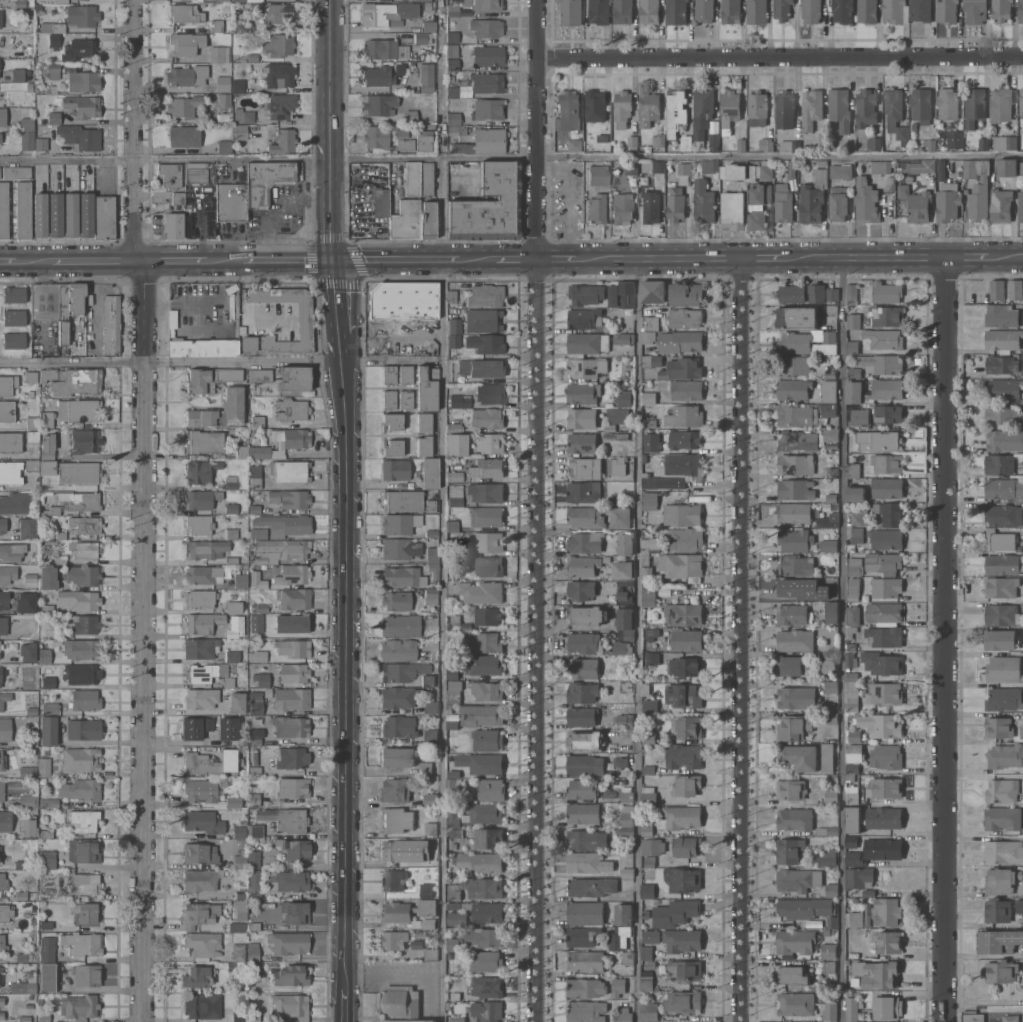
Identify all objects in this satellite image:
building: (239, 0)
building: (62, 1)
building: (20, 3)
building: (424, 5)
building: (485, 5)
building: (37, 6)
building: (227, 6)
building: (783, 9)
building: (452, 10)
building: (705, 10)
building: (920, 10)
building: (1001, 10)
building: (273, 11)
building: (623, 11)
building: (649, 11)
building: (676, 11)
building: (731, 11)
building: (812, 11)
building: (843, 11)
building: (867, 11)
building: (895, 11)
building: (947, 11)
building: (975, 11)
building: (1020, 11)
building: (185, 12)
building: (388, 12)
building: (571, 12)
building: (599, 12)
building: (757, 12)
building: (82, 15)
building: (1, 18)
building: (216, 25)
building: (244, 27)
building: (486, 27)
building: (59, 28)
building: (451, 36)
building: (422, 37)
building: (54, 41)
building: (185, 43)
building: (279, 44)
building: (29, 48)
building: (380, 48)
building: (79, 49)
building: (451, 50)
building: (219, 53)
building: (488, 55)
building: (253, 57)
road: (779, 57)
building: (412, 63)
building: (452, 64)
building: (51, 70)
building: (18, 74)
building: (279, 74)
building: (187, 75)
building: (378, 75)
building: (427, 77)
building: (84, 81)
building: (486, 82)
building: (223, 83)
building: (238, 85)
building: (30, 87)
building: (37, 87)
building: (53, 89)
building: (452, 91)
building: (223, 99)
building: (948, 103)
building: (379, 104)
building: (1002, 104)
building: (82, 105)
building: (595, 105)
building: (650, 105)
building: (921, 105)
building: (183, 106)
building: (279, 106)
building: (974, 106)
building: (730, 107)
building: (1021, 107)
building: (488, 108)
building: (622, 108)
building: (757, 108)
building: (812, 108)
building: (866, 108)
building: (840, 109)
building: (569, 110)
building: (785, 110)
building: (676, 111)
building: (702, 113)
building: (895, 114)
building: (3, 116)
building: (243, 116)
building: (411, 116)
building: (54, 117)
building: (222, 117)
building: (453, 118)
building: (27, 123)
building: (914, 126)
building: (453, 129)
road: (329, 130)
building: (239, 131)
building: (80, 136)
building: (184, 136)
building: (387, 136)
building: (0, 137)
building: (955, 139)
building: (27, 140)
building: (424, 140)
building: (659, 140)
building: (823, 140)
building: (283, 141)
building: (483, 141)
building: (713, 141)
building: (893, 141)
building: (1022, 141)
building: (633, 142)
building: (1005, 142)
building: (686, 143)
building: (874, 143)
building: (42, 144)
building: (575, 144)
building: (741, 144)
building: (928, 144)
building: (768, 145)
building: (790, 145)
building: (224, 146)
building: (849, 146)
building: (984, 146)
road: (779, 156)
road: (185, 157)
road: (432, 158)
road: (66, 159)
building: (822, 162)
building: (941, 165)
building: (711, 166)
building: (923, 166)
building: (659, 167)
building: (790, 167)
building: (877, 167)
building: (887, 167)
building: (1006, 167)
building: (631, 168)
building: (970, 168)
building: (685, 169)
building: (841, 171)
building: (17, 172)
building: (196, 172)
building: (734, 172)
building: (759, 172)
building: (169, 175)
building: (599, 175)
building: (413, 178)
building: (427, 178)
building: (267, 181)
building: (890, 184)
building: (452, 185)
building: (903, 191)
building: (761, 194)
building: (814, 197)
building: (178, 198)
building: (978, 200)
building: (232, 201)
building: (380, 201)
building: (703, 201)
building: (867, 201)
building: (947, 201)
parking lot: (558, 203)
building: (783, 203)
building: (839, 203)
building: (676, 204)
building: (488, 205)
building: (1001, 205)
building: (920, 206)
building: (1020, 206)
building: (650, 207)
building: (597, 208)
building: (622, 208)
building: (4, 209)
building: (23, 209)
building: (733, 209)
road: (278, 210)
building: (55, 214)
building: (71, 214)
building: (86, 214)
building: (40, 215)
building: (104, 217)
building: (757, 219)
building: (407, 220)
building: (428, 220)
building: (173, 226)
road: (1006, 256)
road: (762, 257)
road: (865, 257)
road: (967, 257)
road: (397, 258)
road: (500, 258)
road: (563, 258)
road: (665, 258)
road: (277, 260)
traffic signals: (331, 260)
road: (182, 261)
road: (17, 262)
road: (87, 262)
building: (997, 289)
building: (1015, 289)
building: (654, 291)
building: (816, 292)
building: (886, 292)
building: (626, 293)
building: (792, 293)
building: (13, 294)
building: (412, 294)
building: (586, 294)
building: (685, 294)
building: (832, 294)
building: (852, 294)
building: (451, 295)
building: (485, 295)
building: (612, 295)
building: (76, 298)
building: (385, 299)
building: (46, 302)
road: (335, 311)
building: (628, 311)
building: (64, 313)
building: (885, 315)
building: (1003, 315)
building: (14, 317)
building: (797, 317)
building: (305, 318)
building: (584, 318)
building: (685, 318)
building: (483, 319)
building: (853, 321)
building: (650, 322)
building: (111, 324)
building: (454, 325)
building: (241, 329)
building: (647, 336)
building: (829, 337)
building: (625, 338)
building: (884, 339)
building: (14, 340)
building: (453, 340)
building: (1003, 340)
building: (680, 341)
building: (198, 343)
building: (485, 343)
building: (587, 343)
building: (795, 343)
building: (852, 347)
building: (652, 360)
road: (221, 363)
building: (882, 363)
building: (1000, 364)
building: (590, 366)
building: (793, 366)
building: (481, 367)
building: (682, 368)
building: (1022, 368)
building: (1022, 371)
building: (432, 372)
building: (854, 373)
building: (47, 374)
building: (389, 374)
building: (405, 374)
building: (830, 374)
building: (261, 375)
building: (31, 376)
building: (210, 378)
building: (295, 378)
building: (76, 381)
building: (7, 384)
building: (794, 388)
building: (887, 389)
building: (426, 390)
building: (687, 390)
building: (1003, 390)
building: (829, 391)
building: (854, 391)
building: (583, 392)
building: (30, 393)
building: (490, 393)
building: (649, 396)
building: (389, 399)
building: (405, 399)
building: (625, 399)
building: (459, 400)
building: (79, 409)
building: (291, 409)
building: (6, 410)
building: (220, 410)
building: (828, 410)
building: (887, 414)
building: (1001, 414)
building: (618, 415)
building: (797, 415)
building: (685, 416)
building: (859, 417)
building: (487, 418)
building: (582, 418)
building: (393, 420)
building: (649, 420)
building: (46, 421)
building: (258, 421)
building: (32, 422)
building: (424, 422)
building: (454, 427)
building: (611, 427)
building: (254, 432)
building: (831, 434)
building: (624, 436)
building: (33, 437)
building: (685, 439)
building: (878, 440)
building: (1004, 440)
building: (85, 441)
building: (204, 441)
building: (798, 441)
building: (10, 442)
building: (490, 442)
building: (282, 443)
building: (582, 443)
building: (457, 444)
building: (424, 445)
building: (393, 447)
building: (652, 449)
building: (242, 451)
building: (47, 453)
building: (887, 462)
building: (796, 464)
building: (999, 464)
building: (32, 465)
building: (684, 465)
building: (616, 466)
building: (47, 467)
building: (487, 468)
building: (585, 468)
building: (396, 469)
building: (853, 470)
building: (200, 471)
building: (289, 471)
building: (11, 472)
building: (80, 472)
building: (429, 472)
building: (833, 472)
building: (455, 475)
building: (255, 476)
building: (47, 481)
building: (654, 481)
building: (231, 482)
building: (887, 487)
building: (620, 488)
building: (796, 489)
building: (1004, 489)
building: (584, 491)
building: (486, 492)
building: (665, 493)
building: (855, 493)
building: (455, 495)
building: (202, 498)
building: (289, 498)
building: (831, 498)
building: (80, 500)
building: (403, 500)
building: (650, 500)
building: (15, 502)
building: (431, 505)
building: (827, 507)
building: (231, 508)
building: (254, 509)
building: (54, 510)
road: (144, 510)
road: (442, 510)
road: (536, 510)
building: (795, 512)
building: (890, 513)
building: (682, 514)
building: (1004, 515)
building: (486, 516)
building: (585, 517)
building: (620, 517)
building: (859, 517)
building: (828, 522)
building: (401, 523)
building: (3, 524)
building: (85, 524)
building: (199, 524)
building: (285, 524)
building: (453, 525)
building: (643, 526)
building: (27, 527)
building: (258, 533)
building: (432, 533)
building: (648, 533)
building: (232, 534)
building: (61, 535)
building: (857, 535)
building: (886, 538)
building: (688, 539)
building: (1000, 539)
building: (795, 540)
building: (489, 541)
building: (585, 542)
building: (626, 543)
building: (828, 546)
building: (396, 548)
building: (1020, 548)
building: (84, 549)
building: (206, 549)
building: (278, 550)
building: (12, 551)
building: (432, 555)
building: (647, 558)
building: (43, 559)
building: (60, 559)
building: (232, 560)
building: (883, 562)
building: (1002, 564)
building: (582, 565)
building: (797, 565)
building: (490, 566)
building: (681, 566)
building: (855, 566)
building: (433, 569)
building: (623, 570)
building: (294, 573)
building: (7, 574)
building: (204, 574)
building: (83, 575)
building: (453, 575)
building: (402, 576)
building: (30, 577)
building: (48, 577)
building: (234, 580)
building: (240, 580)
building: (261, 583)
building: (1001, 586)
building: (793, 587)
building: (828, 587)
building: (886, 587)
building: (853, 588)
building: (581, 590)
building: (481, 592)
building: (649, 592)
building: (431, 595)
building: (622, 595)
building: (201, 598)
building: (293, 598)
building: (4, 599)
building: (79, 599)
building: (397, 600)
building: (26, 602)
building: (234, 606)
building: (259, 607)
building: (832, 612)
building: (884, 613)
building: (685, 614)
building: (793, 614)
building: (1002, 614)
building: (589, 615)
building: (853, 615)
building: (487, 616)
building: (461, 617)
building: (625, 618)
building: (203, 622)
building: (256, 622)
building: (82, 623)
building: (292, 623)
building: (3, 625)
building: (402, 625)
building: (455, 625)
building: (649, 631)
building: (232, 633)
building: (849, 633)
building: (832, 636)
building: (885, 636)
road: (841, 639)
road: (943, 639)
road: (639, 640)
building: (686, 640)
road: (739, 640)
building: (795, 640)
building: (1002, 640)
building: (486, 642)
building: (585, 642)
building: (624, 642)
building: (851, 646)
building: (201, 647)
building: (84, 648)
building: (294, 648)
building: (399, 650)
building: (27, 651)
building: (258, 655)
building: (45, 656)
building: (232, 656)
building: (651, 658)
building: (850, 660)
building: (828, 661)
building: (483, 664)
building: (883, 664)
building: (242, 666)
building: (686, 666)
building: (793, 666)
building: (584, 668)
building: (1004, 669)
road: (345, 671)
building: (402, 671)
building: (294, 672)
building: (69, 673)
building: (210, 673)
building: (452, 673)
building: (0, 674)
building: (857, 675)
building: (31, 680)
building: (263, 680)
building: (428, 680)
building: (625, 685)
building: (831, 687)
building: (429, 690)
building: (486, 690)
building: (454, 691)
building: (582, 692)
building: (886, 694)
building: (684, 695)
building: (398, 696)
building: (201, 697)
building: (797, 697)
building: (4, 698)
building: (291, 698)
building: (1002, 698)
building: (85, 699)
building: (257, 699)
building: (237, 702)
building: (650, 705)
building: (851, 706)
building: (431, 707)
building: (49, 708)
building: (449, 709)
building: (31, 710)
building: (481, 715)
building: (582, 716)
building: (832, 718)
building: (624, 720)
building: (452, 724)
building: (881, 725)
building: (290, 726)
building: (688, 726)
building: (793, 727)
building: (998, 727)
building: (228, 728)
building: (84, 729)
building: (200, 729)
building: (398, 729)
building: (6, 730)
building: (48, 730)
building: (1022, 732)
building: (452, 733)
building: (255, 735)
building: (431, 736)
building: (855, 736)
building: (237, 737)
building: (32, 738)
building: (649, 738)
building: (487, 739)
building: (585, 740)
building: (854, 753)
building: (398, 756)
building: (683, 756)
building: (886, 756)
building: (1005, 756)
building: (292, 757)
building: (800, 757)
building: (827, 757)
building: (81, 759)
building: (2, 761)
building: (212, 762)
building: (482, 763)
building: (617, 763)
building: (584, 765)
building: (44, 766)
building: (425, 768)
building: (852, 768)
building: (648, 769)
building: (27, 771)
building: (453, 774)
building: (849, 777)
building: (454, 784)
building: (686, 785)
building: (294, 787)
building: (884, 787)
building: (584, 788)
building: (80, 789)
building: (791, 789)
building: (2, 790)
building: (201, 790)
building: (395, 790)
building: (491, 790)
building: (1002, 790)
building: (30, 794)
building: (852, 794)
building: (649, 796)
building: (627, 797)
building: (831, 797)
building: (254, 799)
building: (430, 799)
building: (48, 802)
building: (233, 802)
building: (485, 813)
building: (583, 813)
building: (627, 816)
building: (883, 818)
building: (1003, 818)
building: (397, 819)
building: (453, 819)
building: (683, 819)
building: (795, 819)
building: (5, 820)
building: (82, 820)
building: (292, 820)
building: (853, 820)
building: (203, 821)
building: (26, 827)
building: (429, 828)
building: (255, 830)
building: (647, 830)
building: (239, 831)
building: (826, 831)
building: (456, 833)
building: (626, 833)
building: (46, 834)
building: (488, 838)
building: (586, 840)
building: (242, 841)
building: (851, 842)
building: (652, 846)
building: (687, 846)
building: (454, 847)
building: (883, 848)
building: (0, 849)
building: (294, 849)
building: (83, 850)
building: (1004, 850)
building: (393, 851)
building: (790, 851)
building: (199, 853)
building: (855, 858)
building: (253, 859)
building: (826, 860)
building: (46, 861)
building: (239, 861)
building: (649, 861)
building: (479, 862)
building: (587, 862)
building: (20, 864)
building: (627, 872)
building: (648, 873)
building: (858, 877)
building: (199, 879)
building: (682, 879)
building: (798, 879)
building: (288, 880)
building: (393, 880)
building: (1002, 880)
building: (3, 881)
building: (86, 883)
building: (254, 884)
building: (591, 886)
building: (484, 888)
building: (647, 890)
building: (831, 890)
building: (426, 891)
building: (454, 892)
building: (869, 893)
building: (20, 895)
building: (856, 900)
building: (48, 903)
building: (453, 905)
building: (1019, 906)
building: (808, 909)
building: (240, 910)
building: (407, 910)
building: (997, 910)
building: (6, 911)
building: (86, 911)
building: (295, 912)
building: (487, 912)
building: (675, 912)
building: (886, 912)
building: (199, 913)
building: (585, 913)
building: (623, 913)
building: (645, 917)
building: (457, 918)
building: (855, 919)
building: (33, 921)
building: (424, 924)
building: (253, 925)
building: (49, 926)
building: (240, 926)
building: (834, 931)
building: (420, 933)
building: (583, 936)
building: (651, 936)
building: (483, 937)
building: (619, 937)
building: (394, 940)
building: (795, 941)
building: (999, 941)
building: (288, 942)
building: (683, 942)
building: (888, 942)
building: (3, 943)
building: (82, 943)
building: (203, 944)
building: (417, 944)
building: (452, 944)
building: (47, 948)
building: (253, 951)
building: (828, 951)
building: (238, 952)
building: (646, 952)
building: (431, 954)
building: (449, 955)
building: (21, 957)
building: (628, 958)
building: (485, 961)
building: (585, 961)
building: (650, 965)
building: (236, 966)
building: (829, 967)
building: (687, 968)
building: (254, 970)
building: (1001, 971)
building: (878, 973)
road: (405, 974)
building: (86, 975)
building: (291, 975)
building: (792, 975)
building: (19, 976)
building: (197, 976)
building: (47, 977)
building: (647, 981)
building: (487, 987)
building: (618, 987)
building: (585, 988)
building: (455, 995)
building: (241, 998)
building: (1, 1000)
building: (39, 1001)
road: (345, 1001)
building: (683, 1002)
building: (401, 1004)
building: (796, 1004)
building: (29, 1005)
building: (290, 1005)
building: (448, 1005)
building: (79, 1006)
building: (202, 1006)
building: (887, 1007)
building: (852, 1009)
building: (830, 1010)
building: (487, 1011)
building: (586, 1011)
building: (650, 1012)
building: (237, 1014)
building: (1, 1015)
building: (253, 1015)
building: (624, 1015)
building: (43, 1016)
building: (973, 1016)
building: (23, 1018)
building: (458, 1019)
building: (774, 1021)
building: (778, 1021)
building: (811, 1021)
building: (857, 1021)

